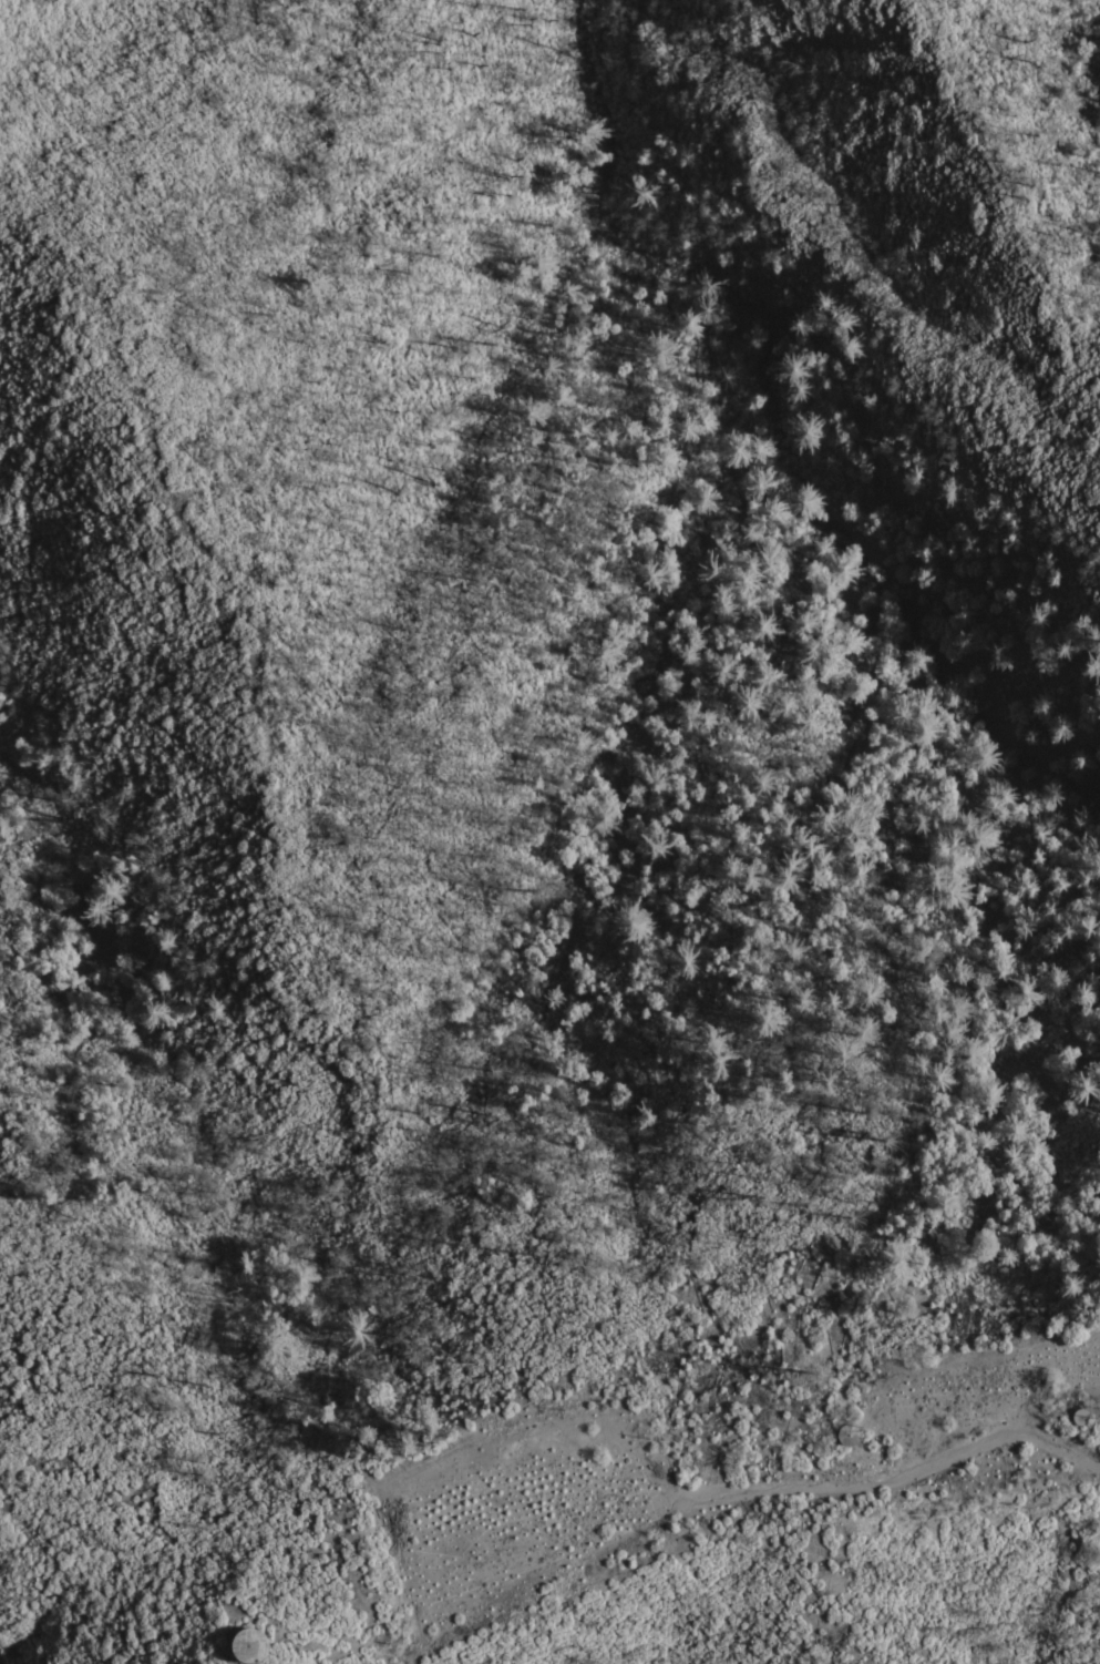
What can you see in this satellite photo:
building: (1076, 1416)
storage tank: (1076, 1416)
building: (849, 1433)
storage tank: (849, 1433)
road: (896, 1483)
road: (541, 1585)
building: (250, 1645)
storage tank: (250, 1645)

